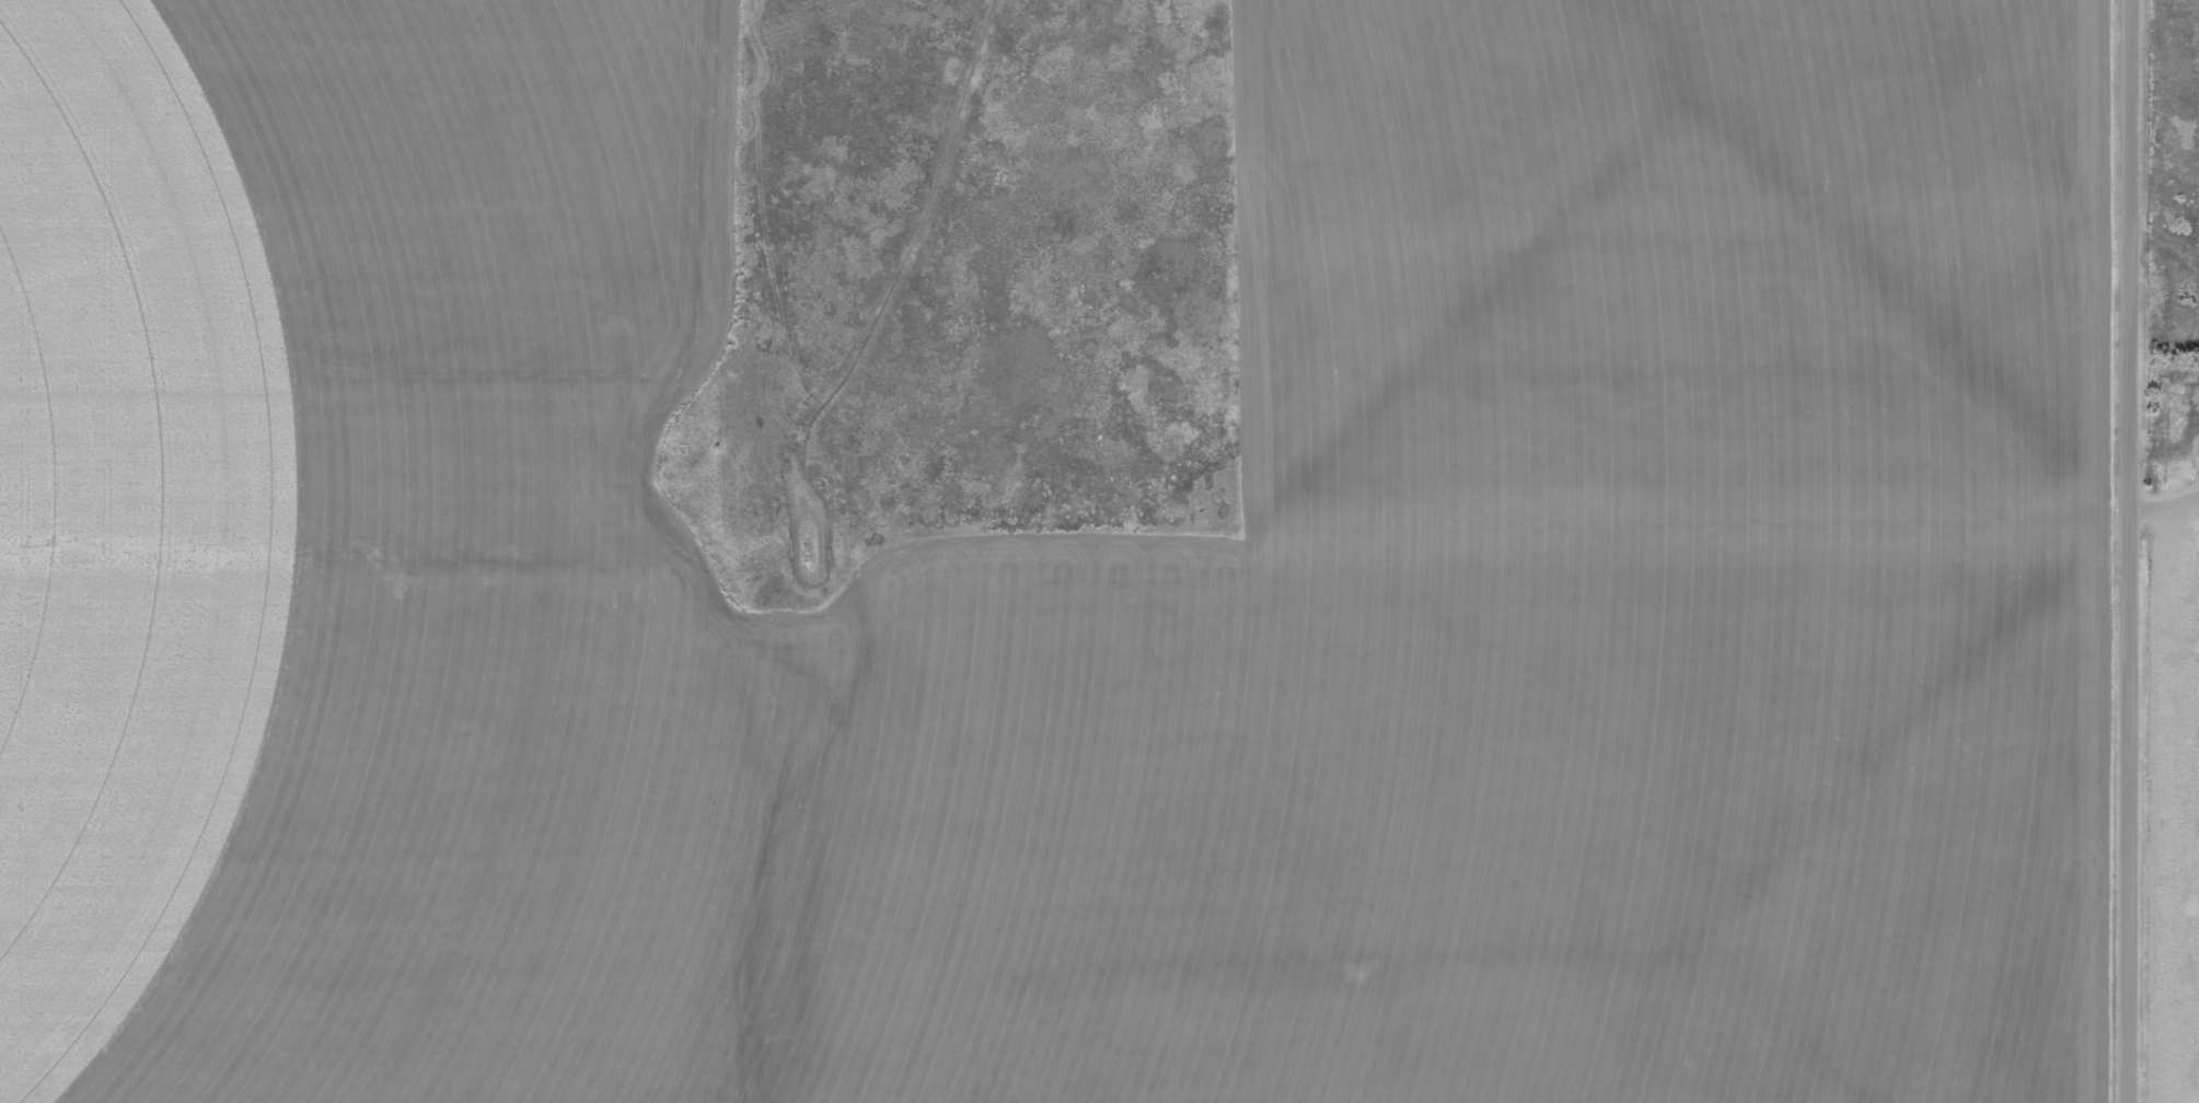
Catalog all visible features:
road: (2126, 551)

